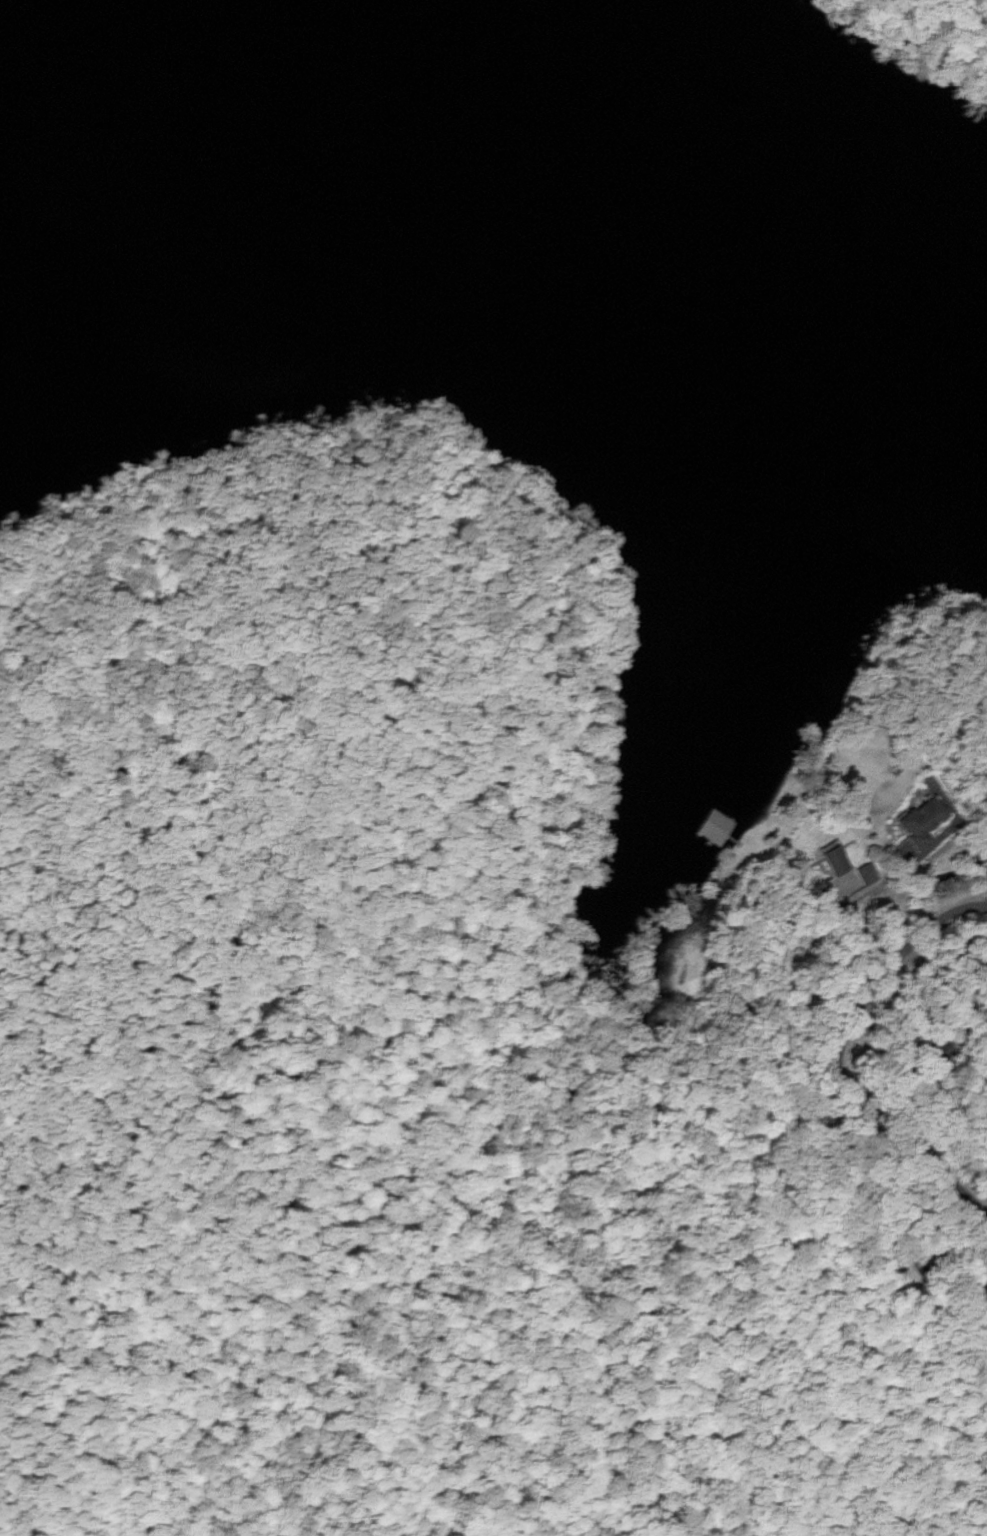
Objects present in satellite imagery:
building: (716, 828)
building: (837, 859)
building: (871, 874)
road: (836, 1060)
road: (105, 1287)

